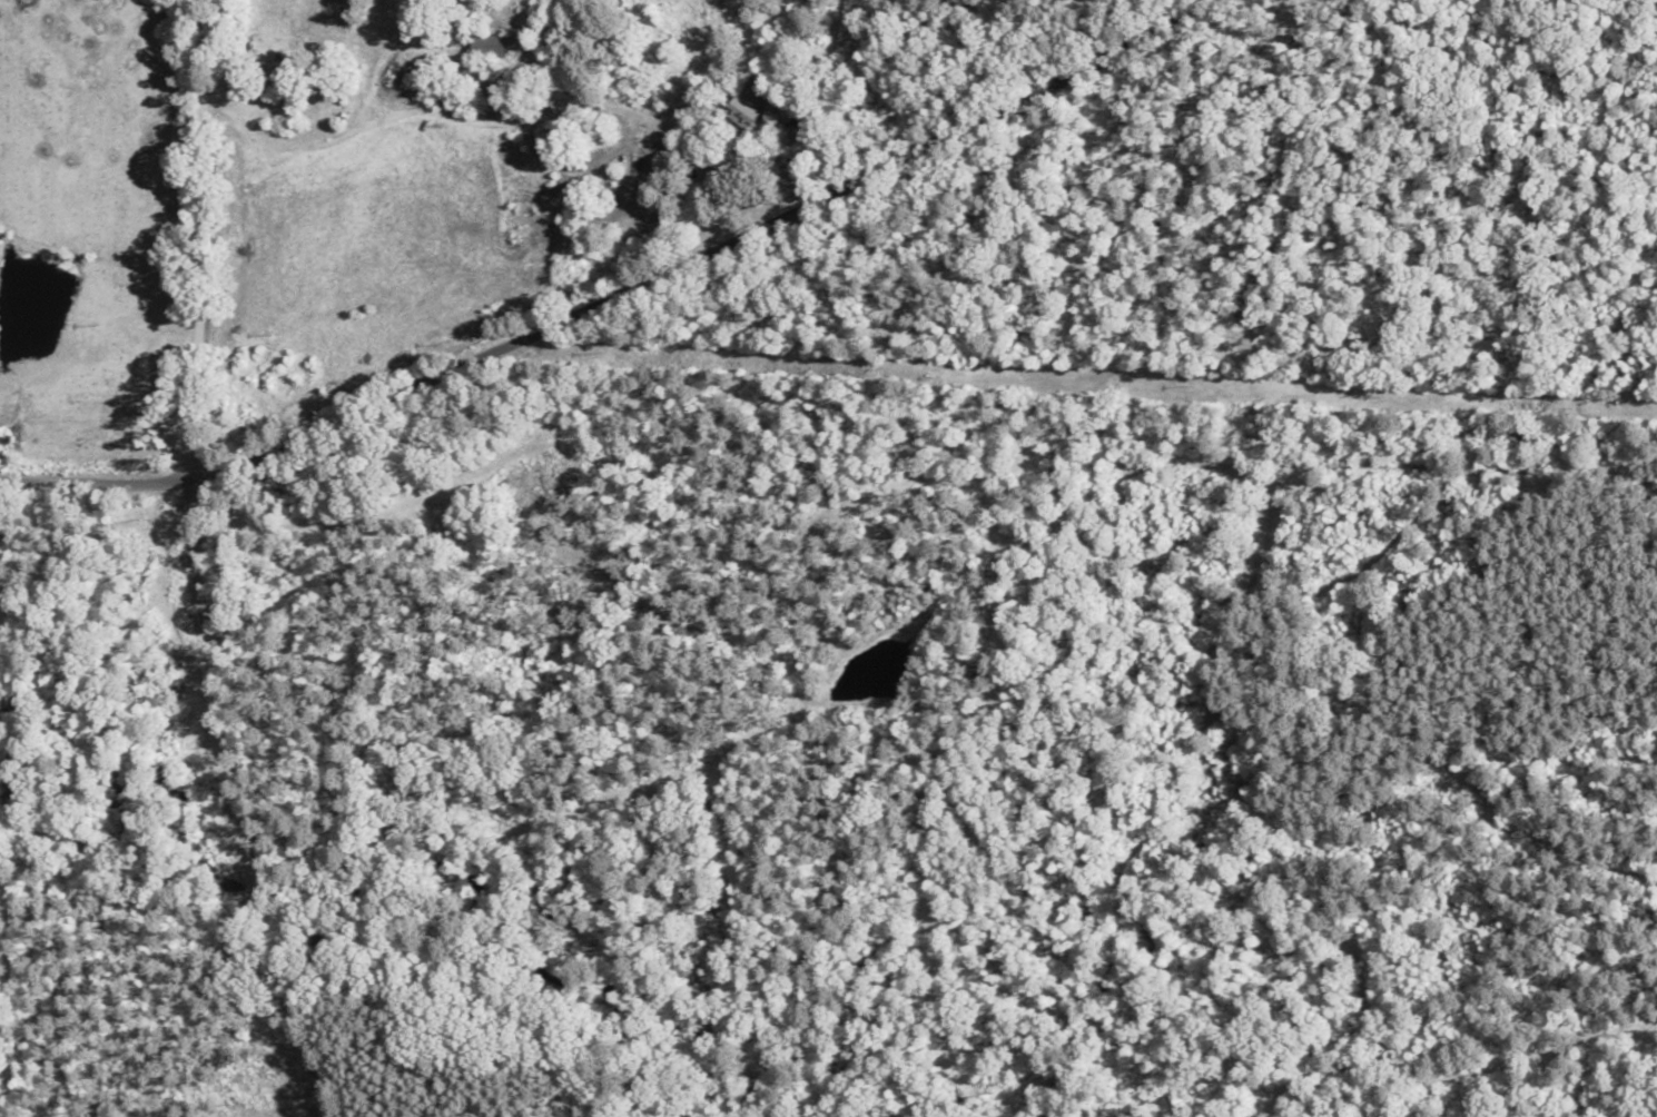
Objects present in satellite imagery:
building: (489, 45)
building: (756, 107)
road: (609, 299)
road: (201, 564)

